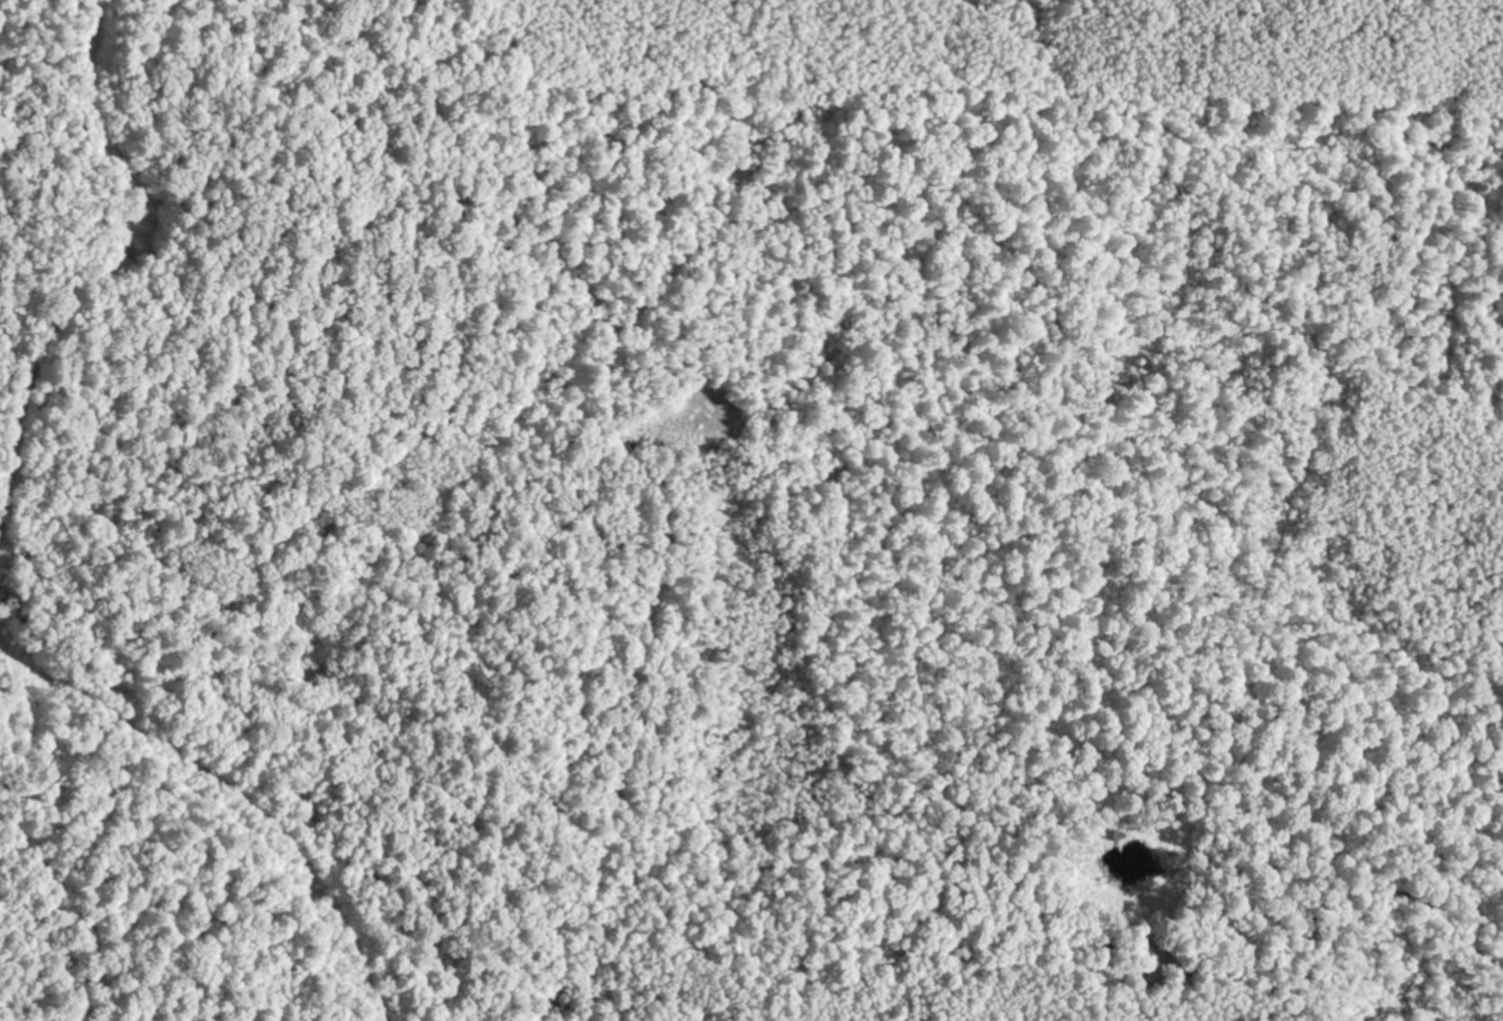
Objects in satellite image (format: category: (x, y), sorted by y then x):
building: (1108, 950)
building: (1153, 960)

